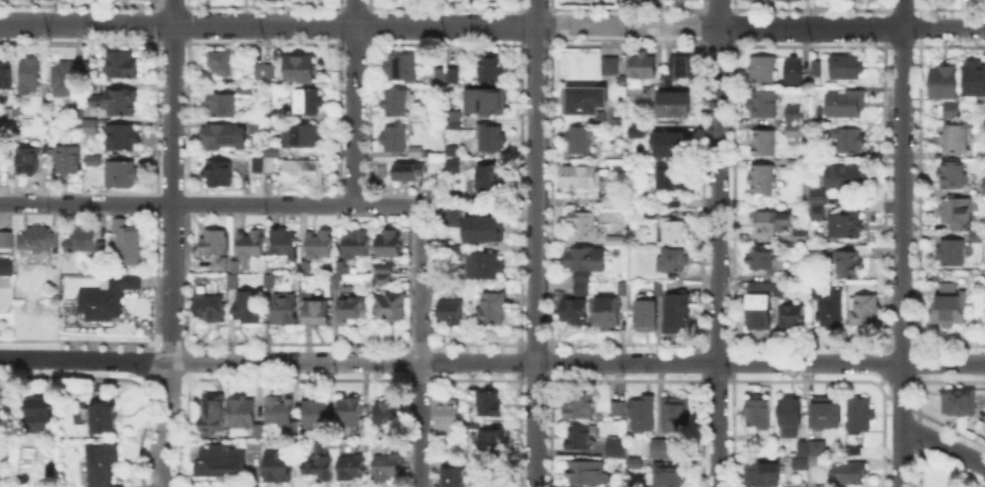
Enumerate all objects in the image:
park: (59, 0)
building: (755, 0)
building: (778, 0)
building: (643, 1)
building: (680, 1)
building: (790, 1)
road: (492, 25)
building: (224, 64)
building: (121, 65)
building: (611, 67)
building: (643, 67)
building: (91, 68)
building: (403, 68)
building: (491, 68)
building: (848, 68)
building: (682, 69)
building: (762, 69)
building: (817, 69)
building: (301, 70)
building: (794, 72)
building: (265, 73)
building: (6, 75)
building: (29, 76)
building: (442, 79)
building: (974, 79)
building: (64, 80)
building: (943, 82)
building: (95, 88)
building: (245, 88)
building: (483, 101)
building: (584, 101)
building: (116, 102)
building: (305, 102)
road: (353, 102)
building: (397, 104)
building: (761, 104)
building: (676, 105)
building: (846, 105)
building: (222, 106)
building: (952, 111)
building: (275, 114)
building: (454, 121)
building: (793, 122)
building: (257, 126)
building: (89, 128)
building: (634, 131)
building: (301, 136)
building: (223, 137)
building: (122, 138)
building: (395, 138)
building: (582, 138)
building: (957, 139)
building: (493, 140)
building: (852, 141)
building: (665, 143)
building: (764, 144)
building: (453, 149)
building: (983, 152)
building: (417, 153)
building: (27, 161)
building: (69, 161)
building: (266, 161)
building: (601, 161)
building: (455, 166)
building: (302, 171)
building: (406, 172)
building: (122, 176)
building: (220, 176)
building: (581, 176)
building: (843, 176)
building: (954, 176)
building: (674, 177)
building: (491, 179)
road: (172, 180)
building: (762, 181)
building: (984, 189)
building: (820, 195)
road: (209, 203)
building: (678, 204)
building: (817, 214)
building: (957, 215)
building: (449, 217)
building: (772, 222)
building: (583, 224)
building: (845, 227)
building: (483, 229)
building: (674, 231)
building: (801, 236)
building: (44, 238)
building: (977, 239)
building: (83, 240)
building: (613, 240)
building: (6, 241)
building: (216, 242)
building: (355, 242)
road: (535, 243)
road: (716, 243)
road: (900, 243)
building: (126, 244)
building: (284, 244)
building: (318, 244)
building: (252, 245)
building: (389, 246)
building: (459, 250)
building: (952, 253)
building: (585, 260)
building: (672, 261)
building: (762, 261)
building: (850, 262)
building: (5, 265)
building: (220, 265)
building: (486, 266)
building: (305, 268)
building: (383, 268)
building: (341, 269)
building: (133, 281)
building: (383, 282)
building: (269, 283)
building: (333, 283)
building: (583, 290)
building: (778, 290)
building: (103, 304)
building: (758, 305)
building: (210, 307)
building: (830, 307)
building: (951, 307)
building: (248, 308)
building: (391, 309)
building: (285, 310)
building: (350, 310)
building: (452, 311)
building: (607, 311)
building: (492, 312)
building: (574, 312)
building: (647, 312)
building: (864, 312)
building: (317, 313)
building: (678, 313)
building: (792, 317)
road: (419, 345)
road: (492, 361)
building: (959, 403)
building: (490, 404)
building: (583, 407)
building: (44, 408)
building: (758, 411)
building: (2, 412)
building: (213, 413)
building: (391, 413)
building: (679, 413)
building: (827, 413)
building: (243, 414)
building: (637, 414)
building: (860, 414)
building: (280, 415)
building: (315, 415)
building: (351, 415)
building: (448, 415)
building: (103, 417)
building: (790, 417)
road: (167, 425)
building: (579, 436)
building: (490, 437)
road: (943, 445)
building: (617, 447)
building: (812, 447)
building: (663, 449)
building: (222, 458)
building: (316, 458)
building: (449, 461)
building: (102, 464)
building: (636, 465)
building: (389, 466)
building: (799, 466)
building: (353, 467)
building: (278, 468)
building: (589, 472)
building: (455, 474)
building: (849, 474)
building: (761, 476)
building: (669, 478)
building: (818, 486)

